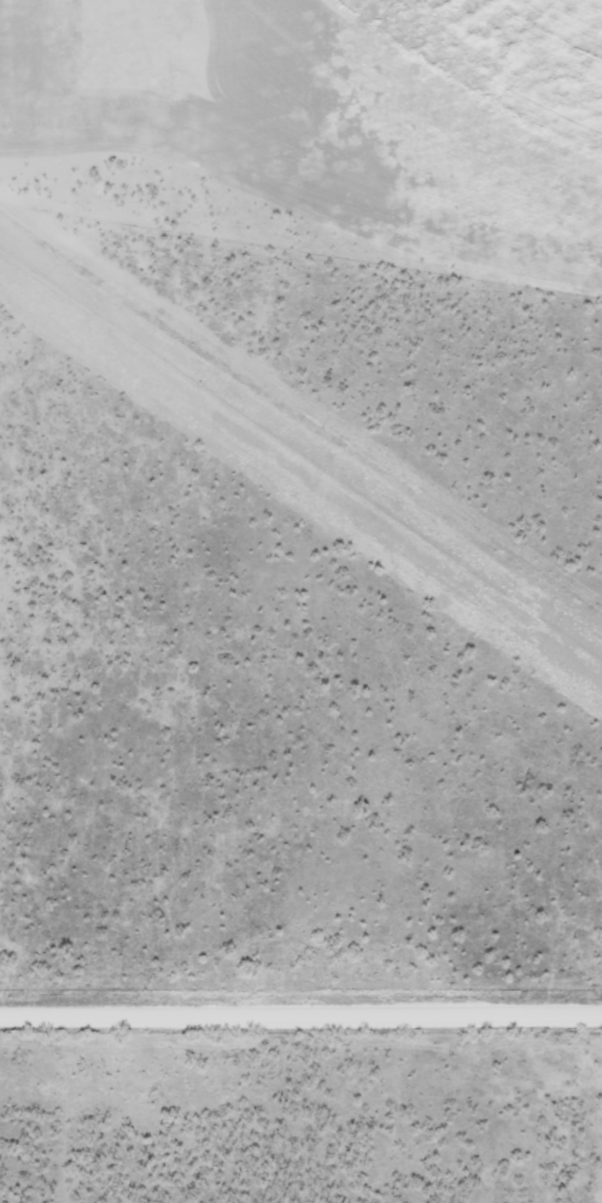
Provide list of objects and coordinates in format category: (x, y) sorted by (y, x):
road: (300, 1023)
road: (350, 1114)

